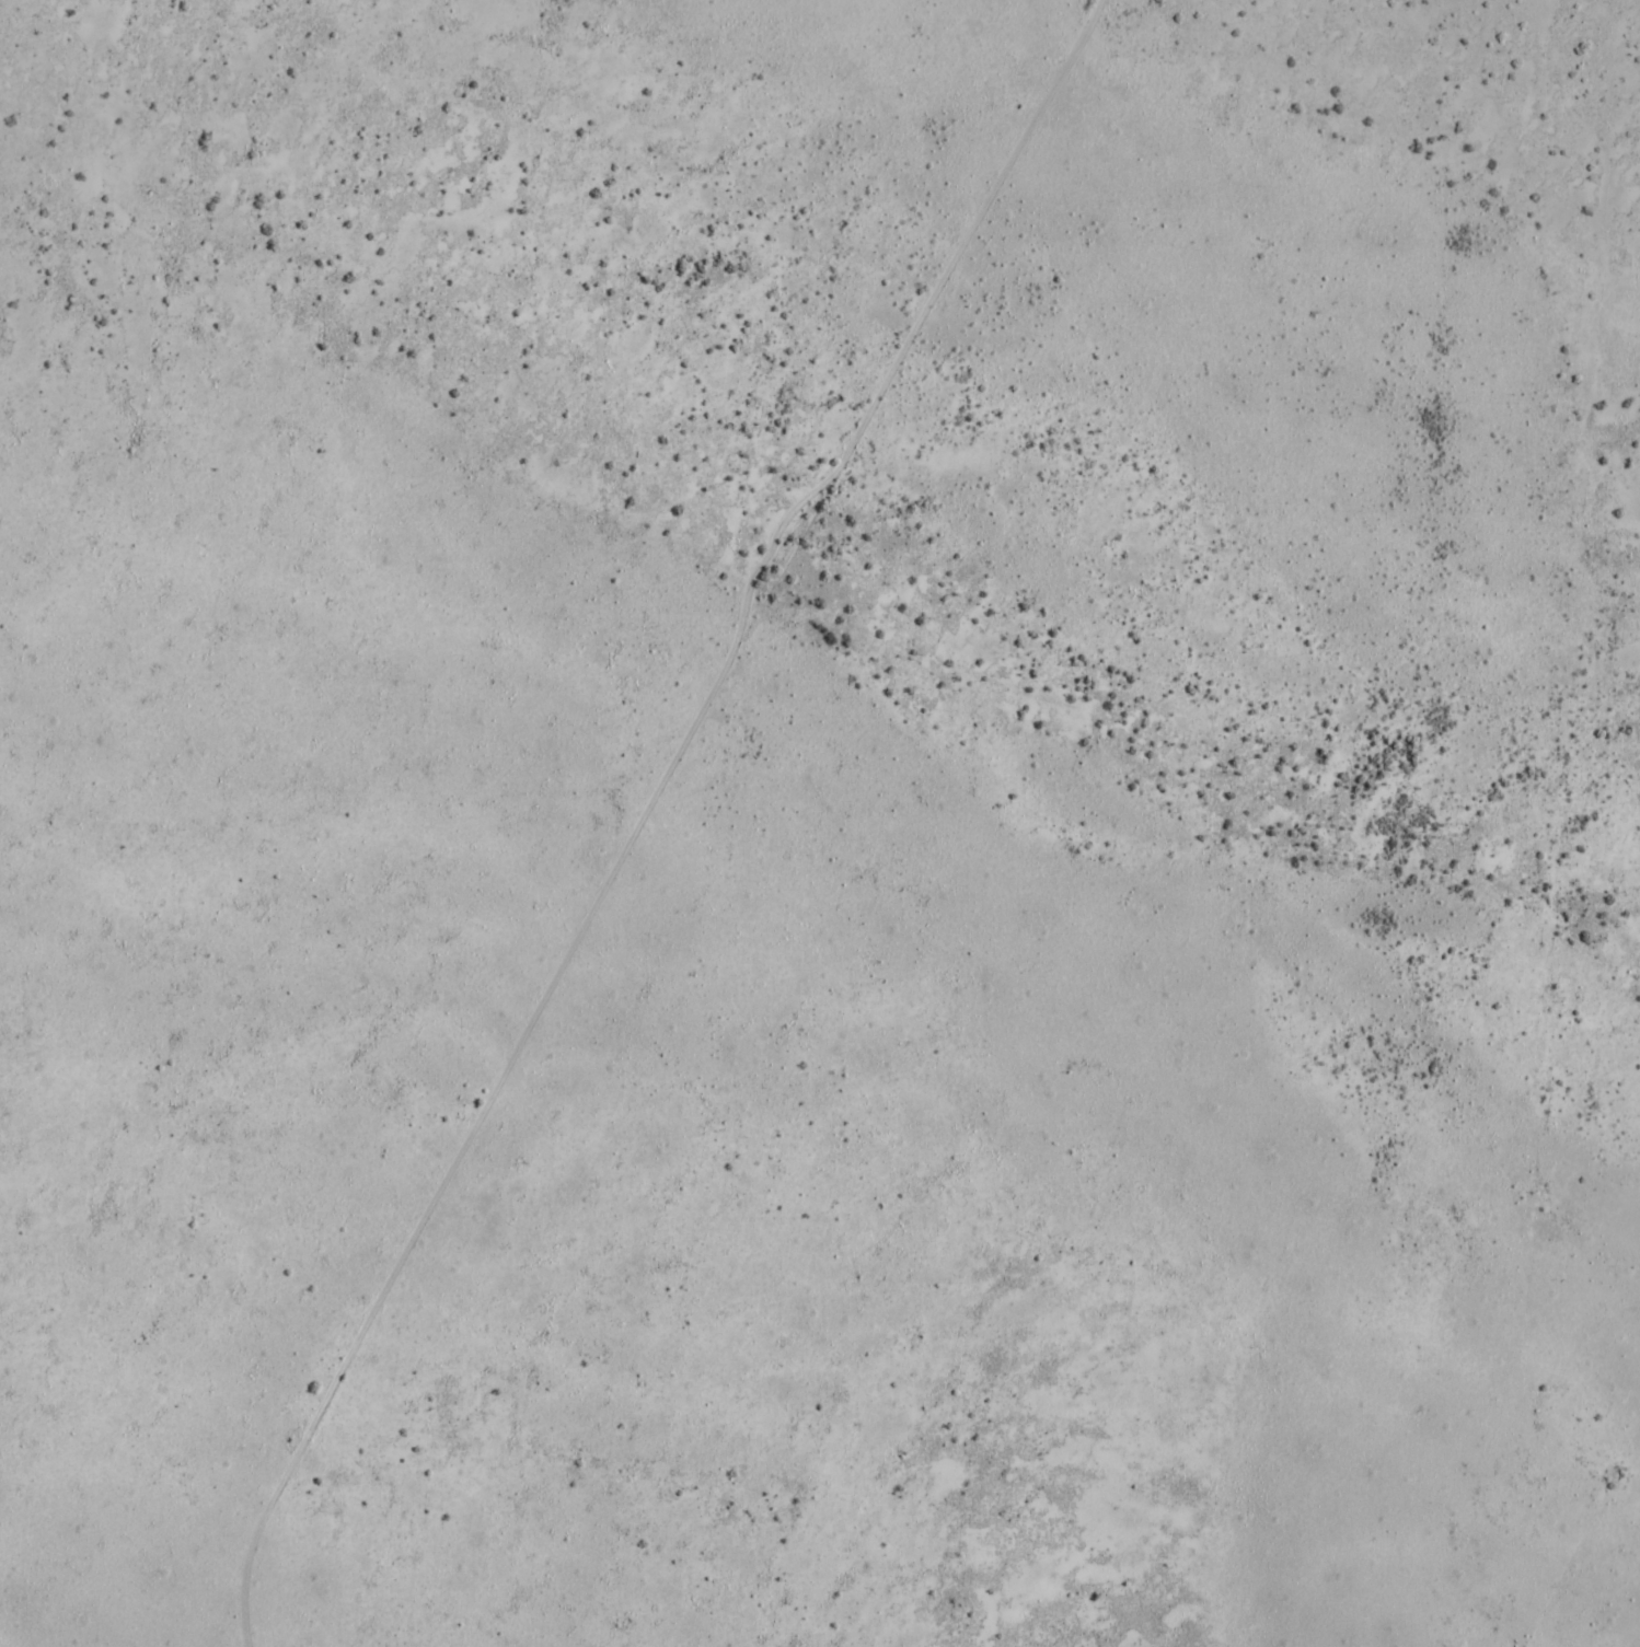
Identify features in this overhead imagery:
road: (712, 831)
road: (1584, 1512)

